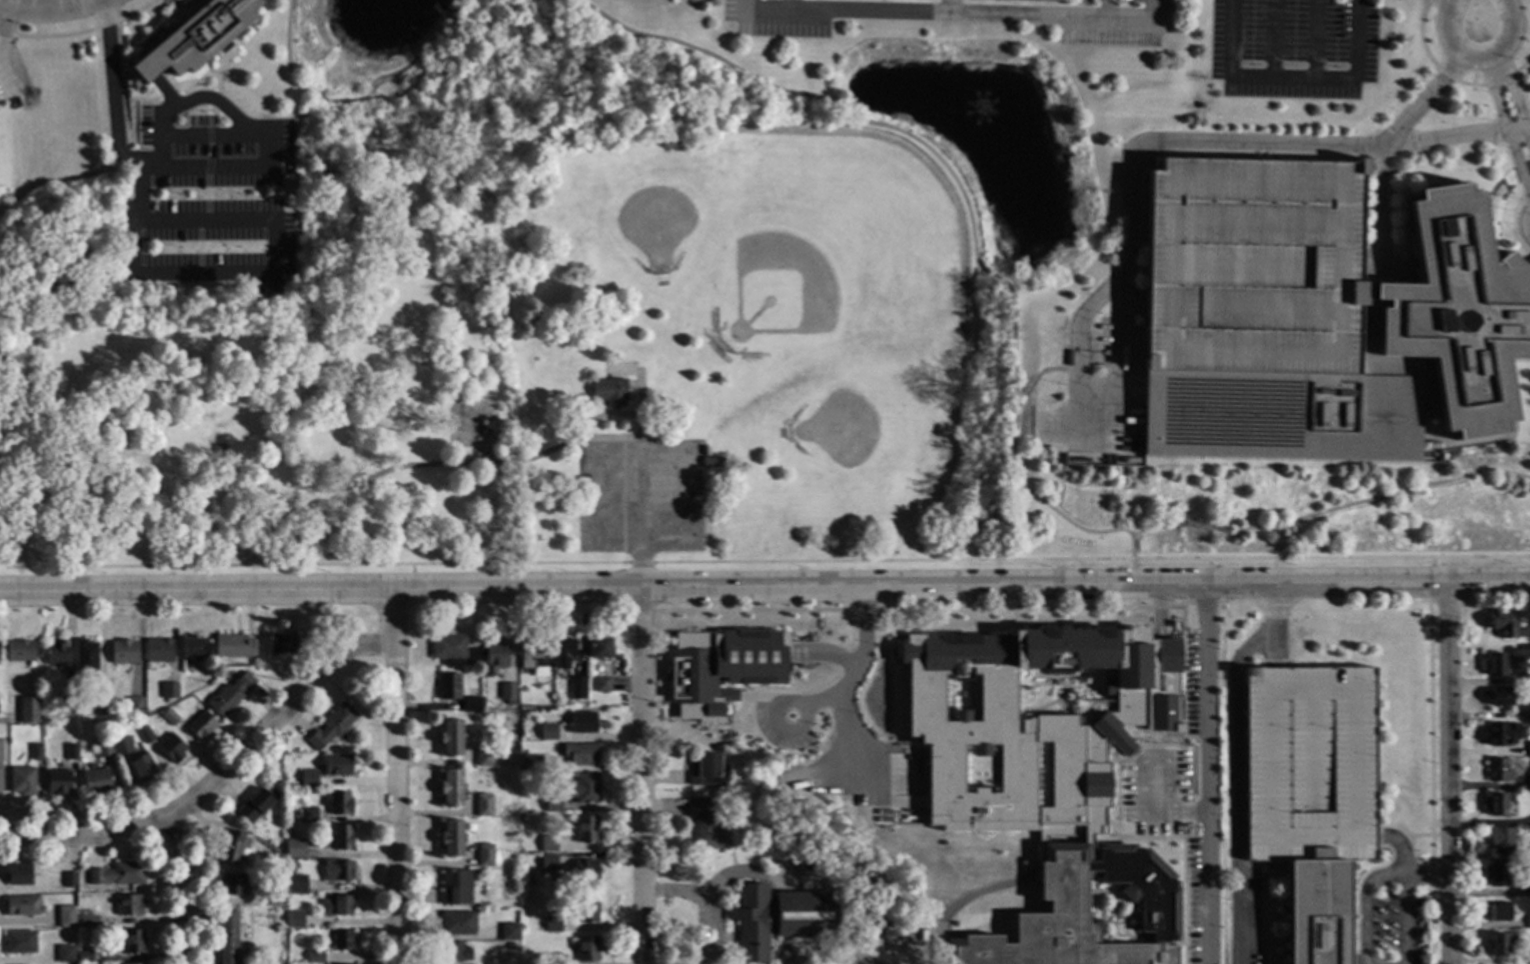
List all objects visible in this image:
building: (1040, 0)
road: (38, 3)
road: (1469, 4)
road: (1106, 8)
road: (876, 10)
road: (453, 11)
road: (1059, 15)
road: (1482, 16)
road: (768, 22)
road: (79, 31)
building: (195, 38)
road: (0, 39)
road: (1230, 39)
road: (1272, 40)
road: (1315, 40)
road: (1358, 40)
road: (1293, 80)
road: (1509, 85)
road: (408, 89)
road: (204, 98)
road: (341, 102)
fountain: (984, 110)
road: (1500, 117)
road: (427, 122)
road: (1389, 134)
road: (209, 136)
road: (1171, 139)
road: (141, 164)
road: (203, 165)
road: (947, 169)
park: (653, 189)
road: (1525, 222)
park: (839, 241)
parking garage: (1253, 266)
building: (1315, 316)
park: (562, 356)
road: (1035, 378)
building: (608, 393)
park: (886, 427)
building: (704, 452)
road: (509, 462)
building: (710, 463)
parking lot: (639, 498)
road: (1331, 509)
road: (638, 518)
road: (1079, 528)
road: (1089, 559)
road: (639, 563)
road: (314, 564)
road: (411, 577)
road: (1430, 579)
road: (1489, 582)
road: (724, 586)
road: (1133, 588)
road: (926, 610)
road: (568, 612)
road: (638, 612)
building: (1501, 624)
building: (281, 644)
building: (233, 646)
building: (447, 648)
building: (195, 649)
building: (599, 650)
building: (20, 651)
building: (159, 651)
building: (124, 653)
building: (56, 654)
building: (563, 654)
building: (533, 655)
building: (496, 657)
building: (86, 658)
building: (474, 658)
building: (1495, 665)
building: (722, 669)
building: (1528, 678)
road: (844, 684)
building: (602, 685)
building: (448, 687)
building: (578, 688)
building: (171, 690)
building: (508, 694)
building: (230, 696)
building: (1498, 697)
building: (471, 705)
building: (533, 705)
building: (135, 706)
building: (67, 707)
building: (100, 707)
road: (805, 709)
building: (1528, 715)
building: (23, 716)
building: (522, 716)
building: (169, 718)
building: (1033, 722)
building: (582, 723)
building: (200, 726)
building: (331, 727)
building: (548, 732)
building: (713, 735)
building: (1494, 735)
building: (145, 736)
building: (451, 739)
building: (121, 747)
building: (102, 748)
building: (1528, 748)
building: (171, 749)
building: (1, 752)
building: (36, 753)
building: (71, 753)
building: (580, 754)
building: (483, 756)
road: (1236, 760)
building: (530, 763)
road: (1140, 763)
building: (0, 766)
building: (337, 766)
building: (141, 768)
building: (980, 770)
building: (706, 771)
building: (1498, 771)
road: (1206, 773)
road: (1449, 773)
road: (641, 775)
road: (394, 776)
road: (215, 779)
building: (308, 780)
building: (0, 781)
building: (96, 781)
building: (22, 782)
road: (1429, 782)
building: (58, 783)
building: (1528, 783)
building: (451, 788)
building: (583, 789)
building: (1310, 793)
building: (767, 800)
building: (553, 802)
building: (338, 804)
building: (1497, 804)
building: (484, 807)
building: (255, 808)
road: (1187, 812)
building: (307, 815)
building: (298, 820)
building: (706, 825)
building: (777, 829)
building: (586, 830)
building: (342, 838)
building: (451, 839)
building: (1500, 840)
building: (548, 844)
building: (232, 847)
building: (293, 850)
building: (484, 856)
building: (548, 863)
building: (337, 870)
building: (585, 871)
building: (18, 875)
building: (117, 875)
building: (1496, 875)
road: (761, 877)
road: (1388, 878)
road: (1427, 878)
building: (69, 880)
building: (296, 884)
building: (231, 885)
road: (180, 888)
building: (455, 888)
building: (1525, 890)
road: (710, 897)
building: (275, 898)
building: (22, 906)
building: (129, 906)
building: (336, 906)
building: (585, 909)
building: (1499, 912)
building: (1082, 913)
building: (66, 917)
building: (778, 918)
building: (294, 920)
building: (88, 921)
building: (1528, 921)
building: (456, 924)
building: (953, 924)
building: (552, 925)
building: (509, 933)
building: (956, 934)
building: (227, 939)
building: (341, 940)
building: (132, 942)
building: (19, 943)
building: (509, 945)
building: (1497, 945)
building: (587, 949)
building: (454, 953)
building: (65, 954)
building: (84, 957)
building: (315, 957)
building: (553, 959)
building: (1356, 959)

